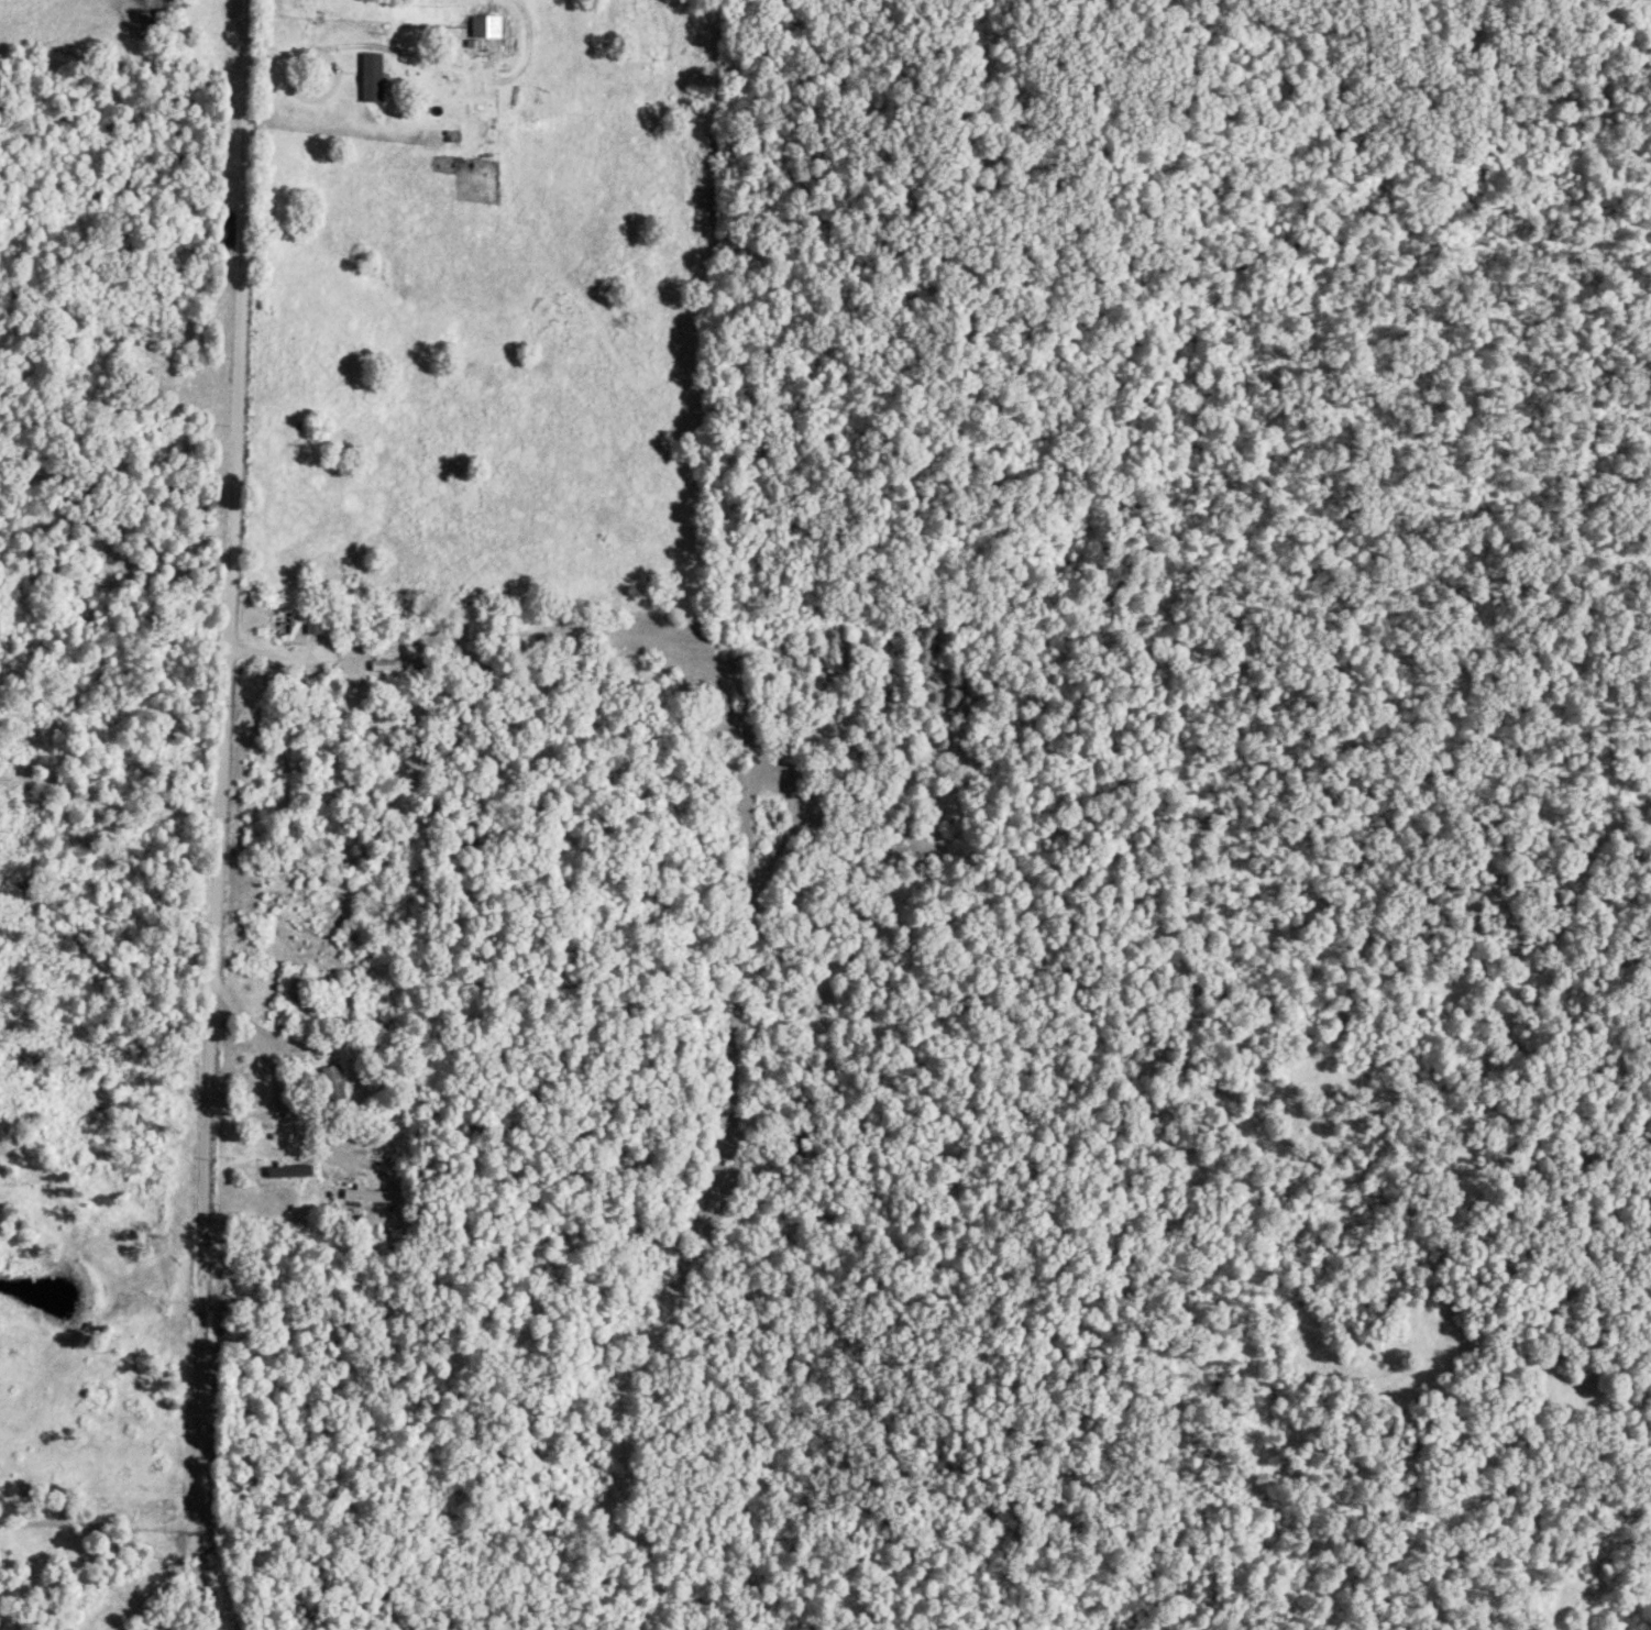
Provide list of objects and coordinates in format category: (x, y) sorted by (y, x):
building: (496, 18)
road: (238, 481)
building: (285, 623)
building: (311, 627)
building: (329, 1084)
road: (232, 1101)
building: (280, 1175)
building: (364, 1198)
road: (205, 1350)

